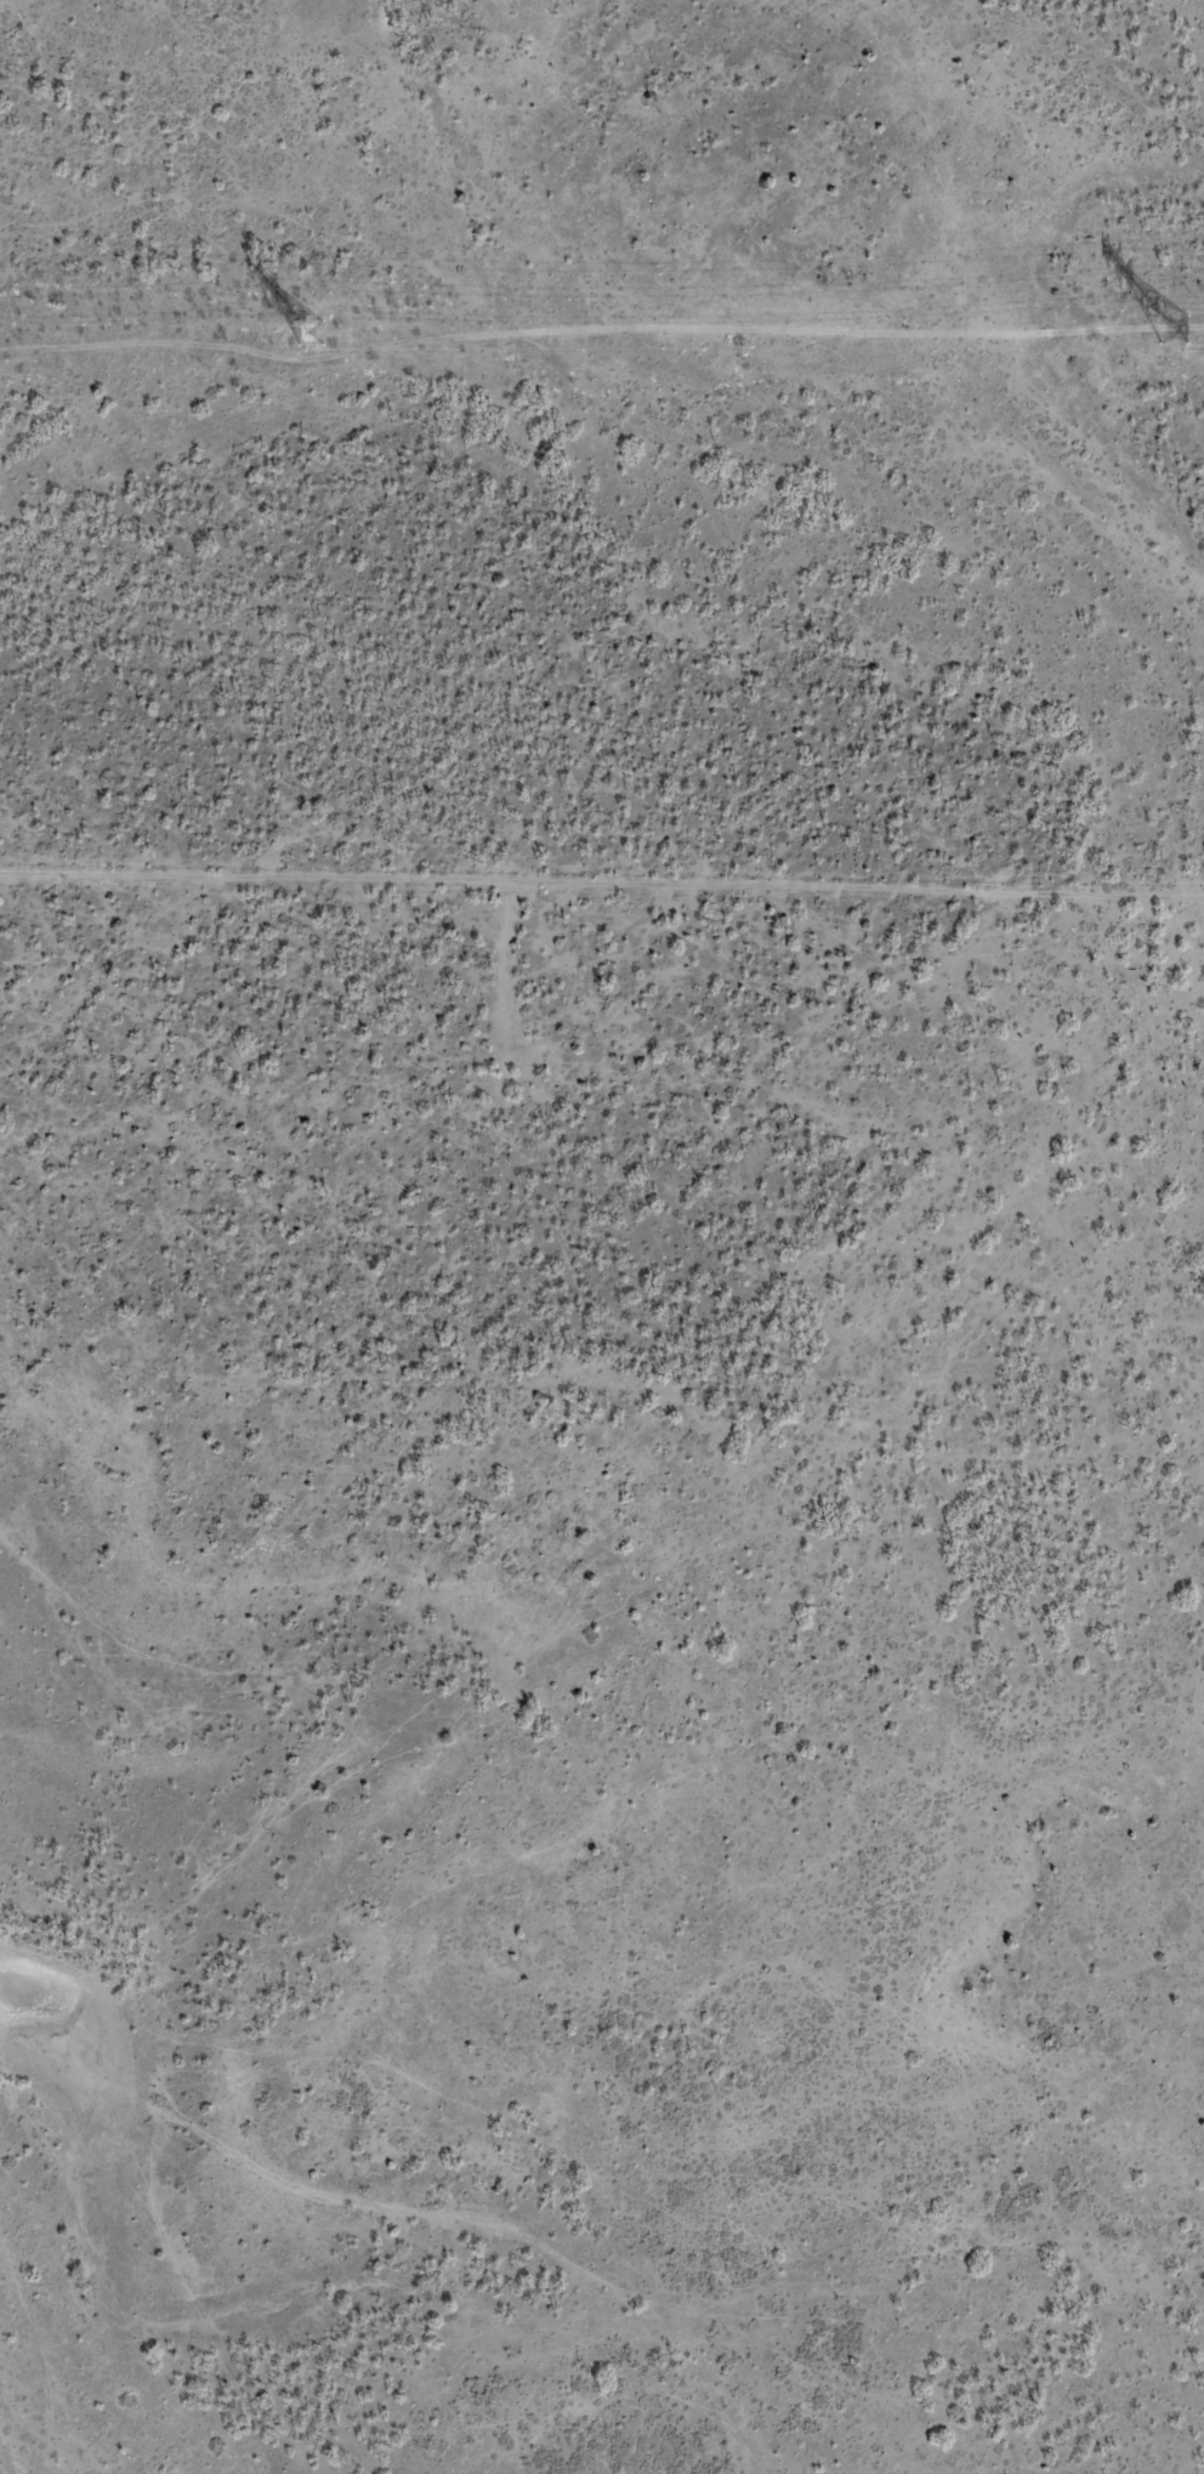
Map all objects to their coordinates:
power tower: (1175, 327)
power tower: (311, 333)
road: (967, 2257)

